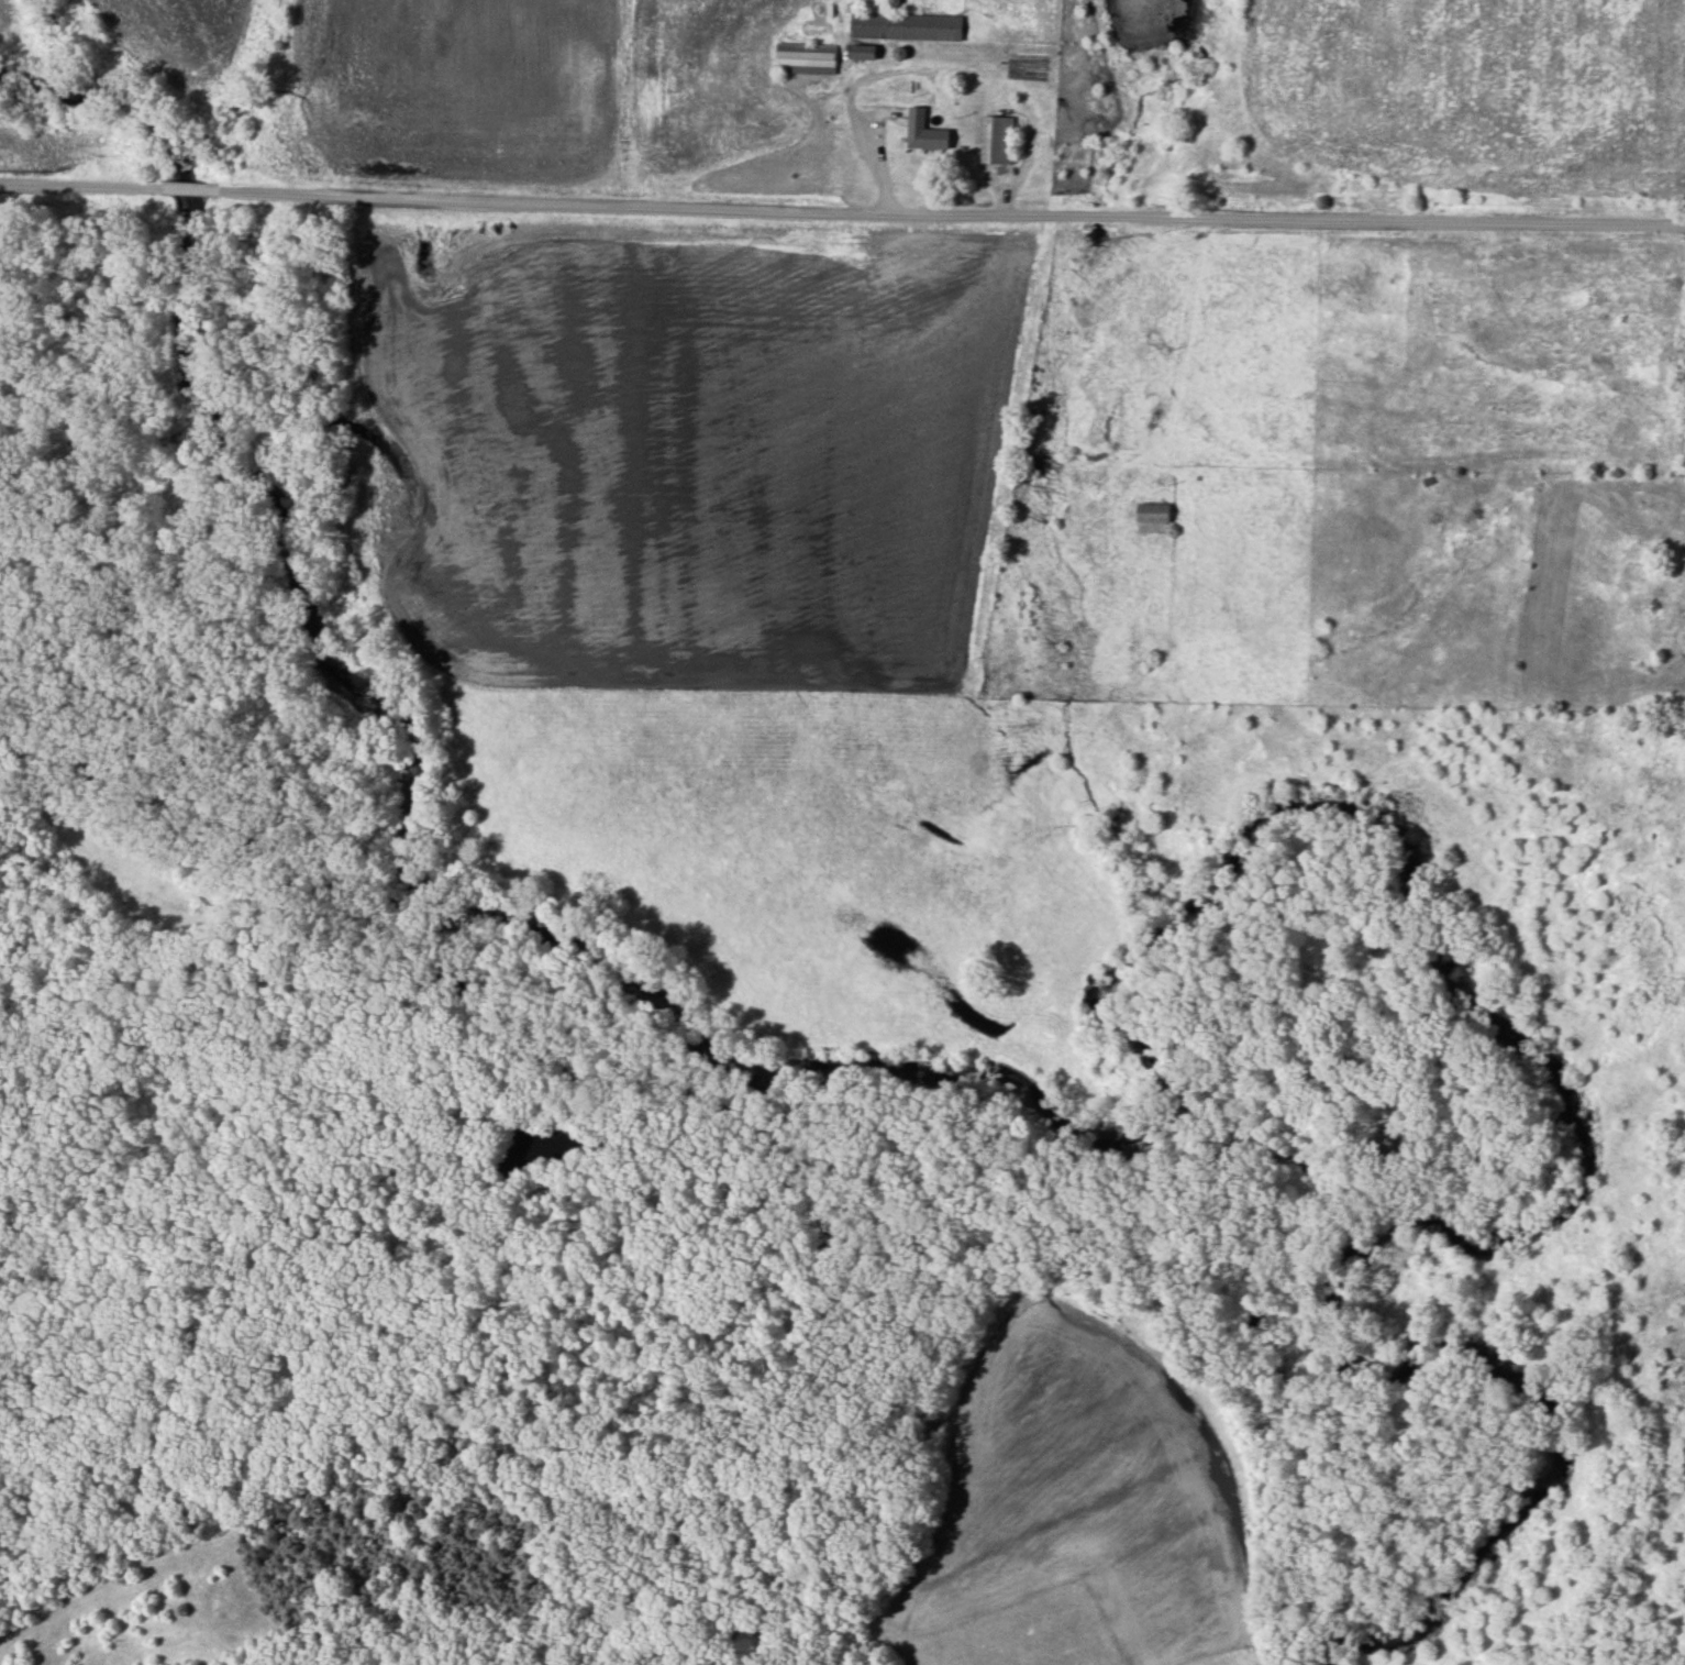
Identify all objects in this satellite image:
building: (907, 27)
building: (807, 59)
building: (924, 133)
building: (997, 141)
road: (876, 150)
road: (842, 214)

